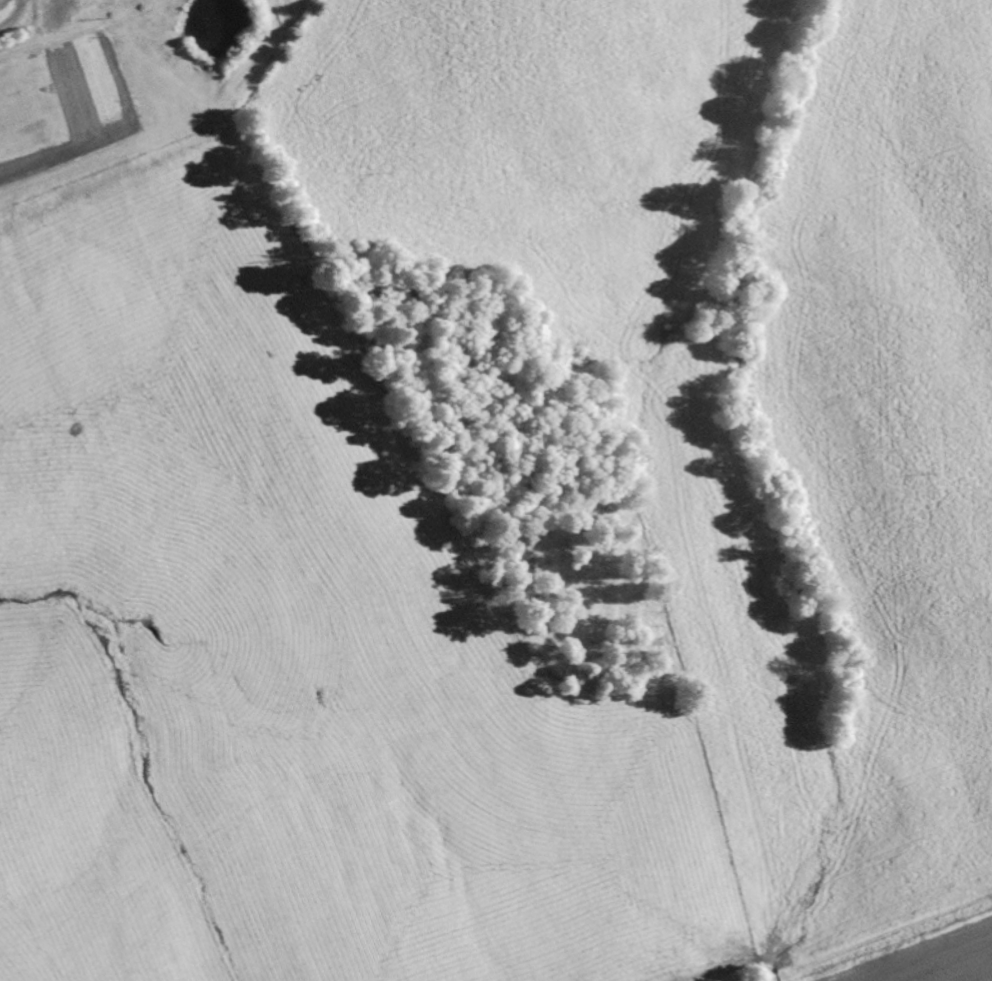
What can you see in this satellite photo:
road: (888, 938)

